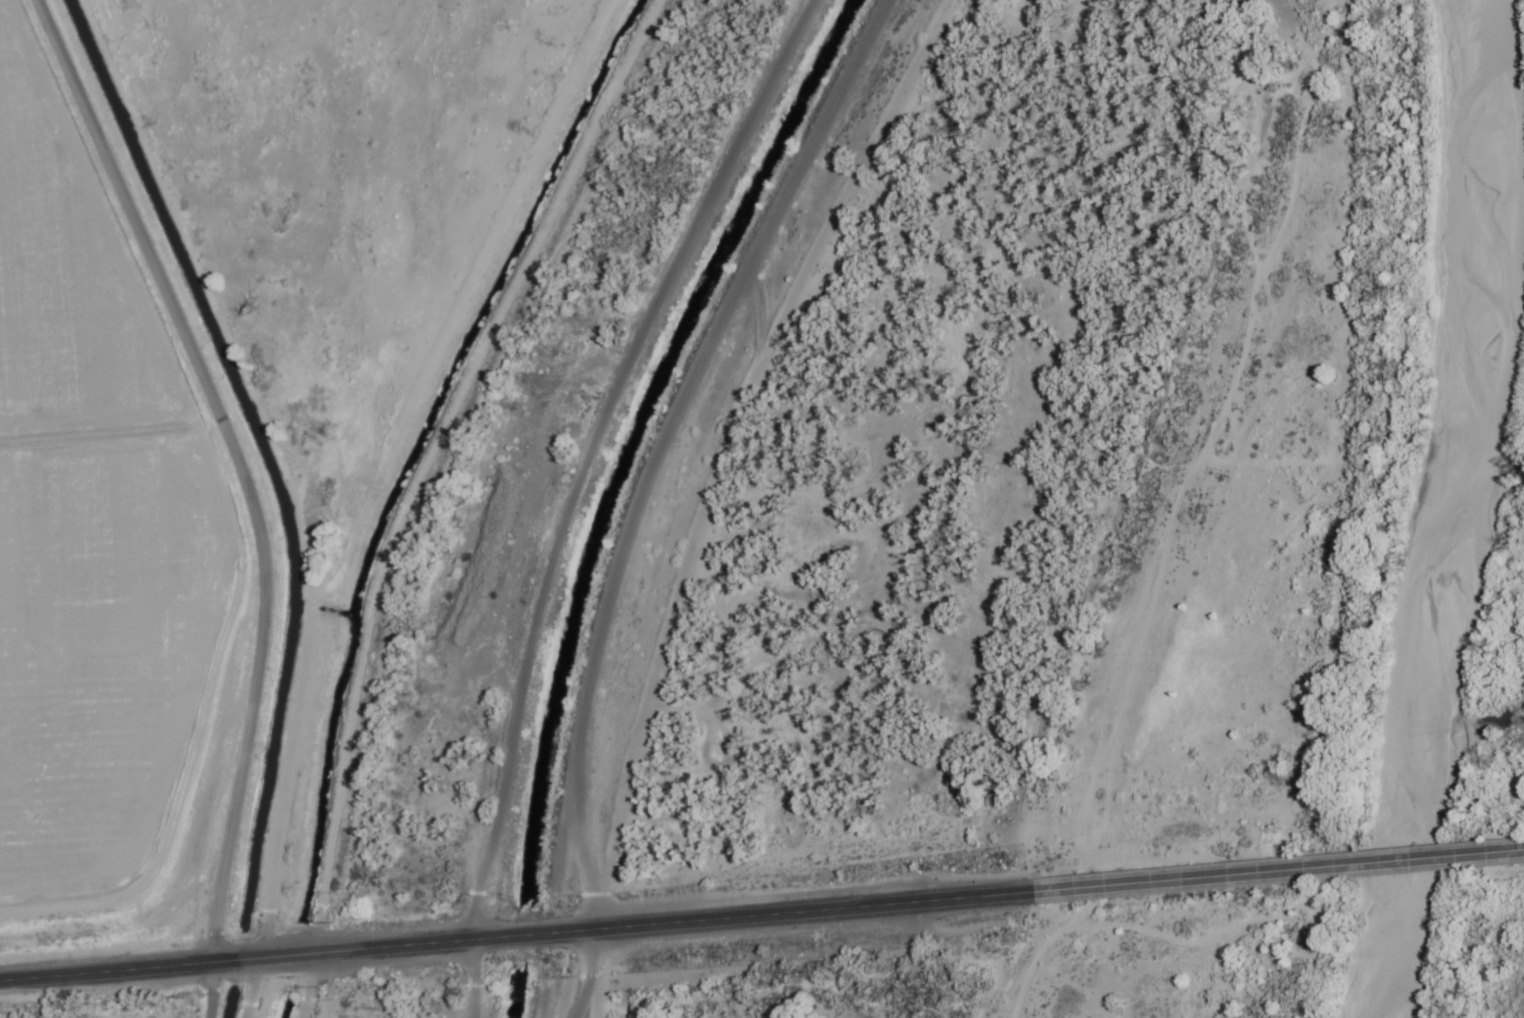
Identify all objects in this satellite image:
river: (1473, 318)
road: (695, 447)
road: (583, 453)
road: (233, 467)
river: (1401, 827)
road: (1279, 871)
road: (517, 938)
road: (588, 976)
road: (467, 980)
road: (197, 992)

